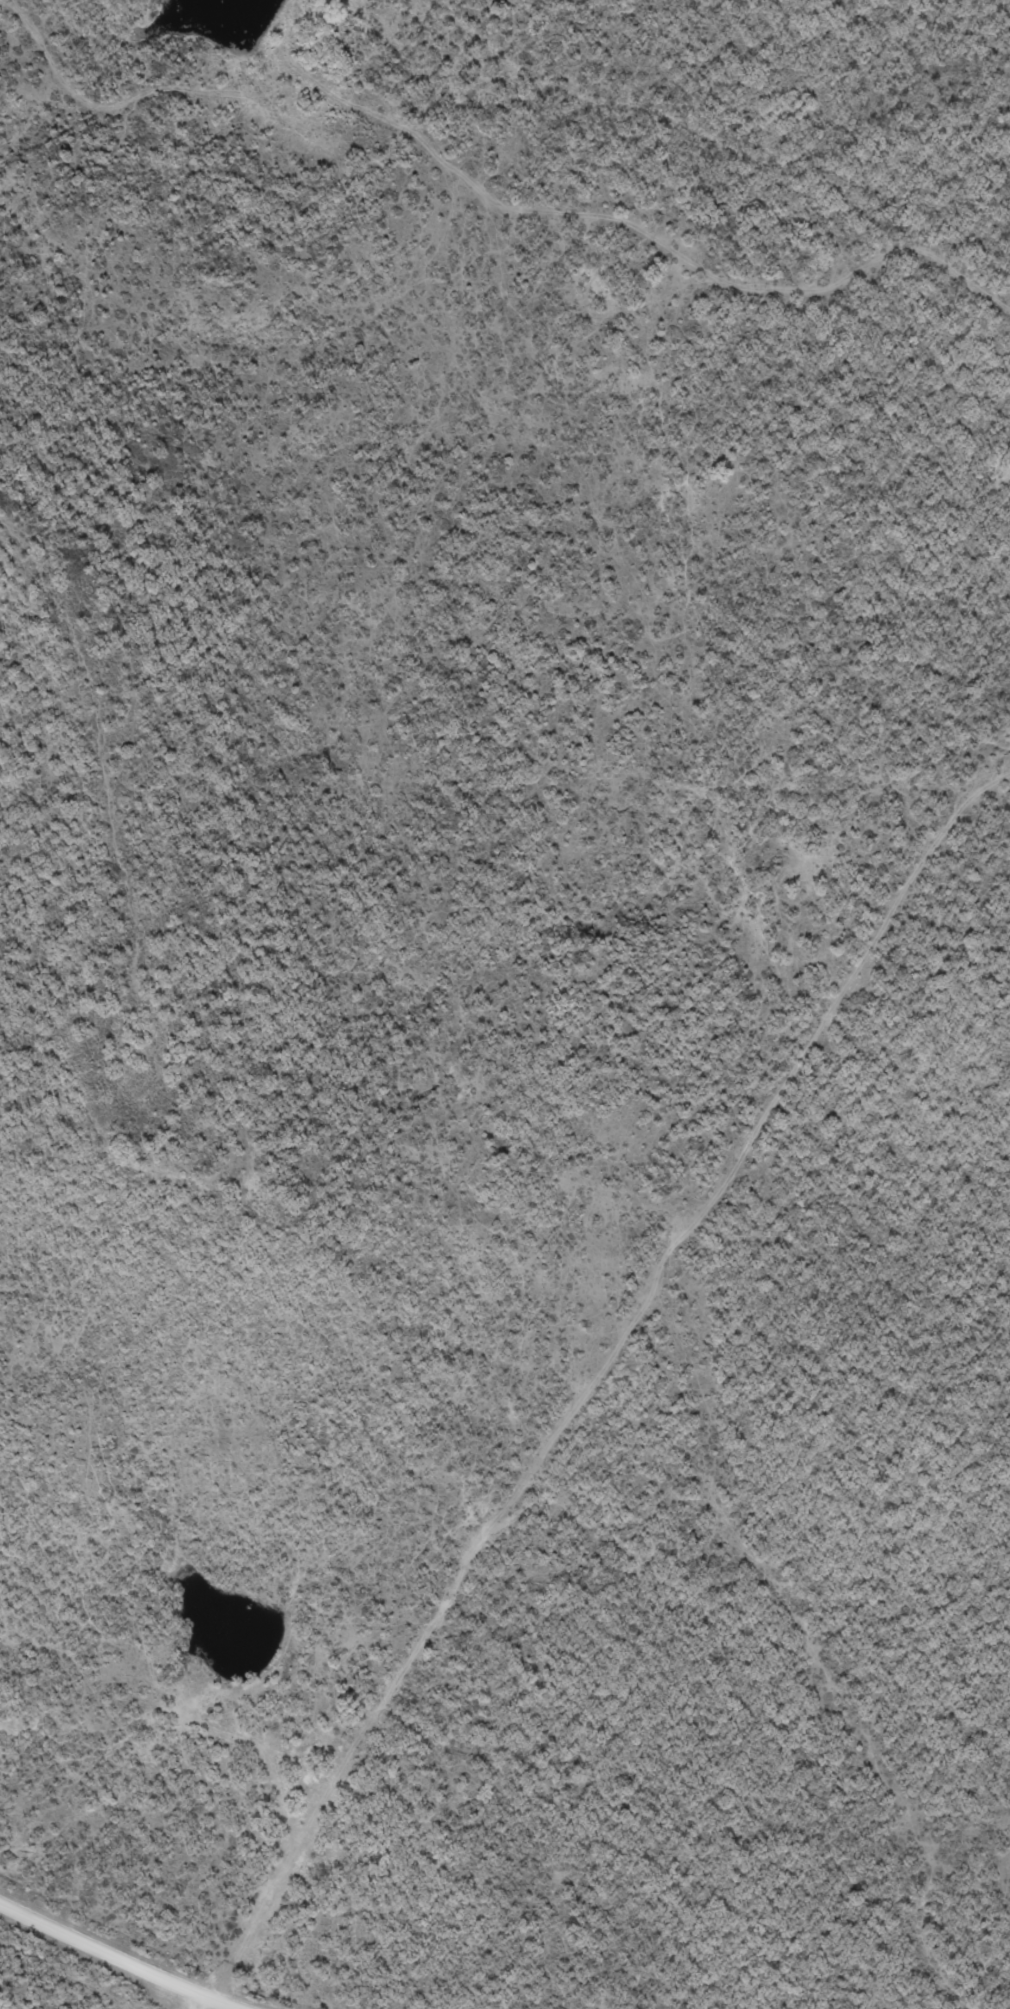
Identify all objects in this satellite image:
road: (98, 1956)

